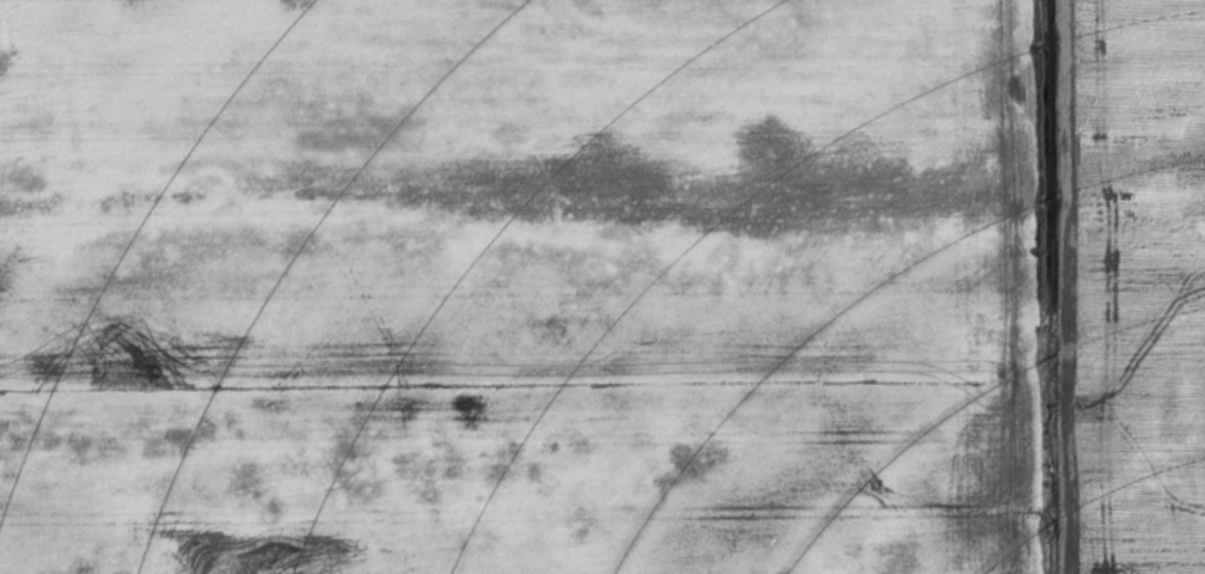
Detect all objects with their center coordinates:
road: (1069, 287)

